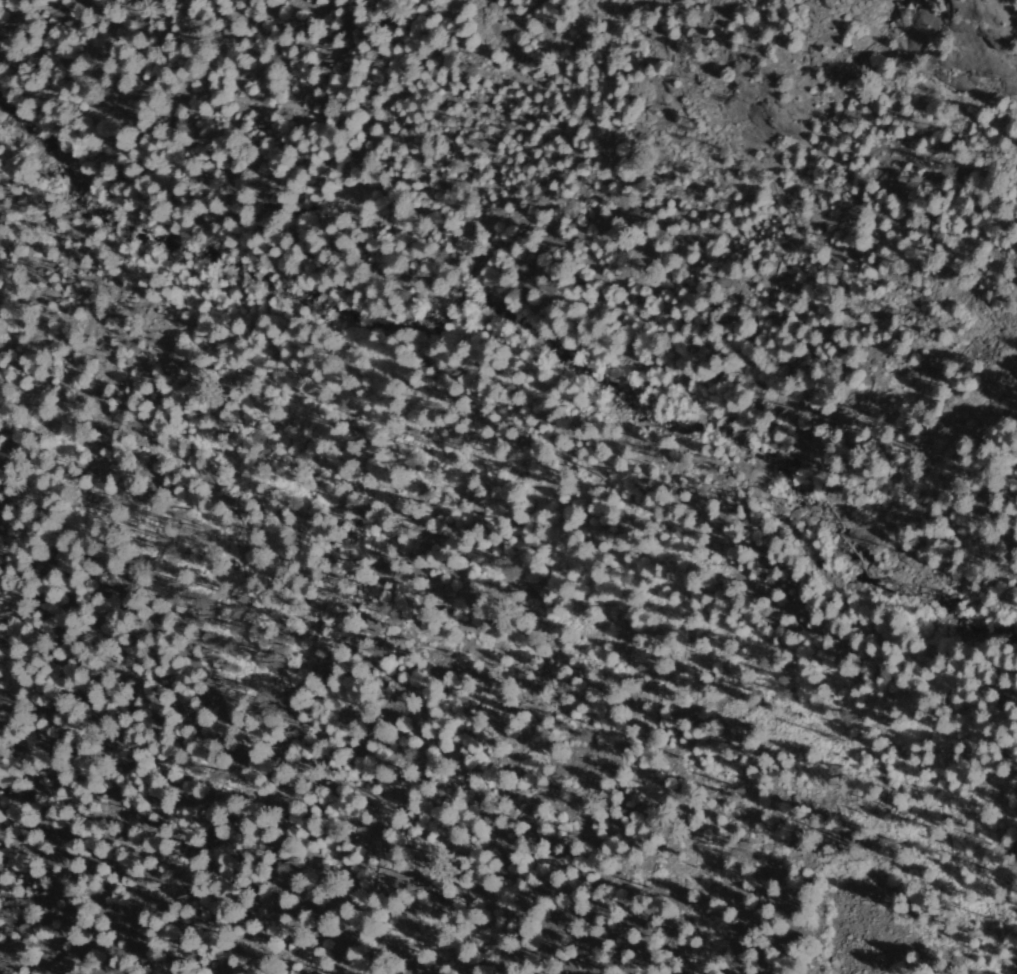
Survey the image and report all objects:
river: (167, 248)
river: (723, 424)

